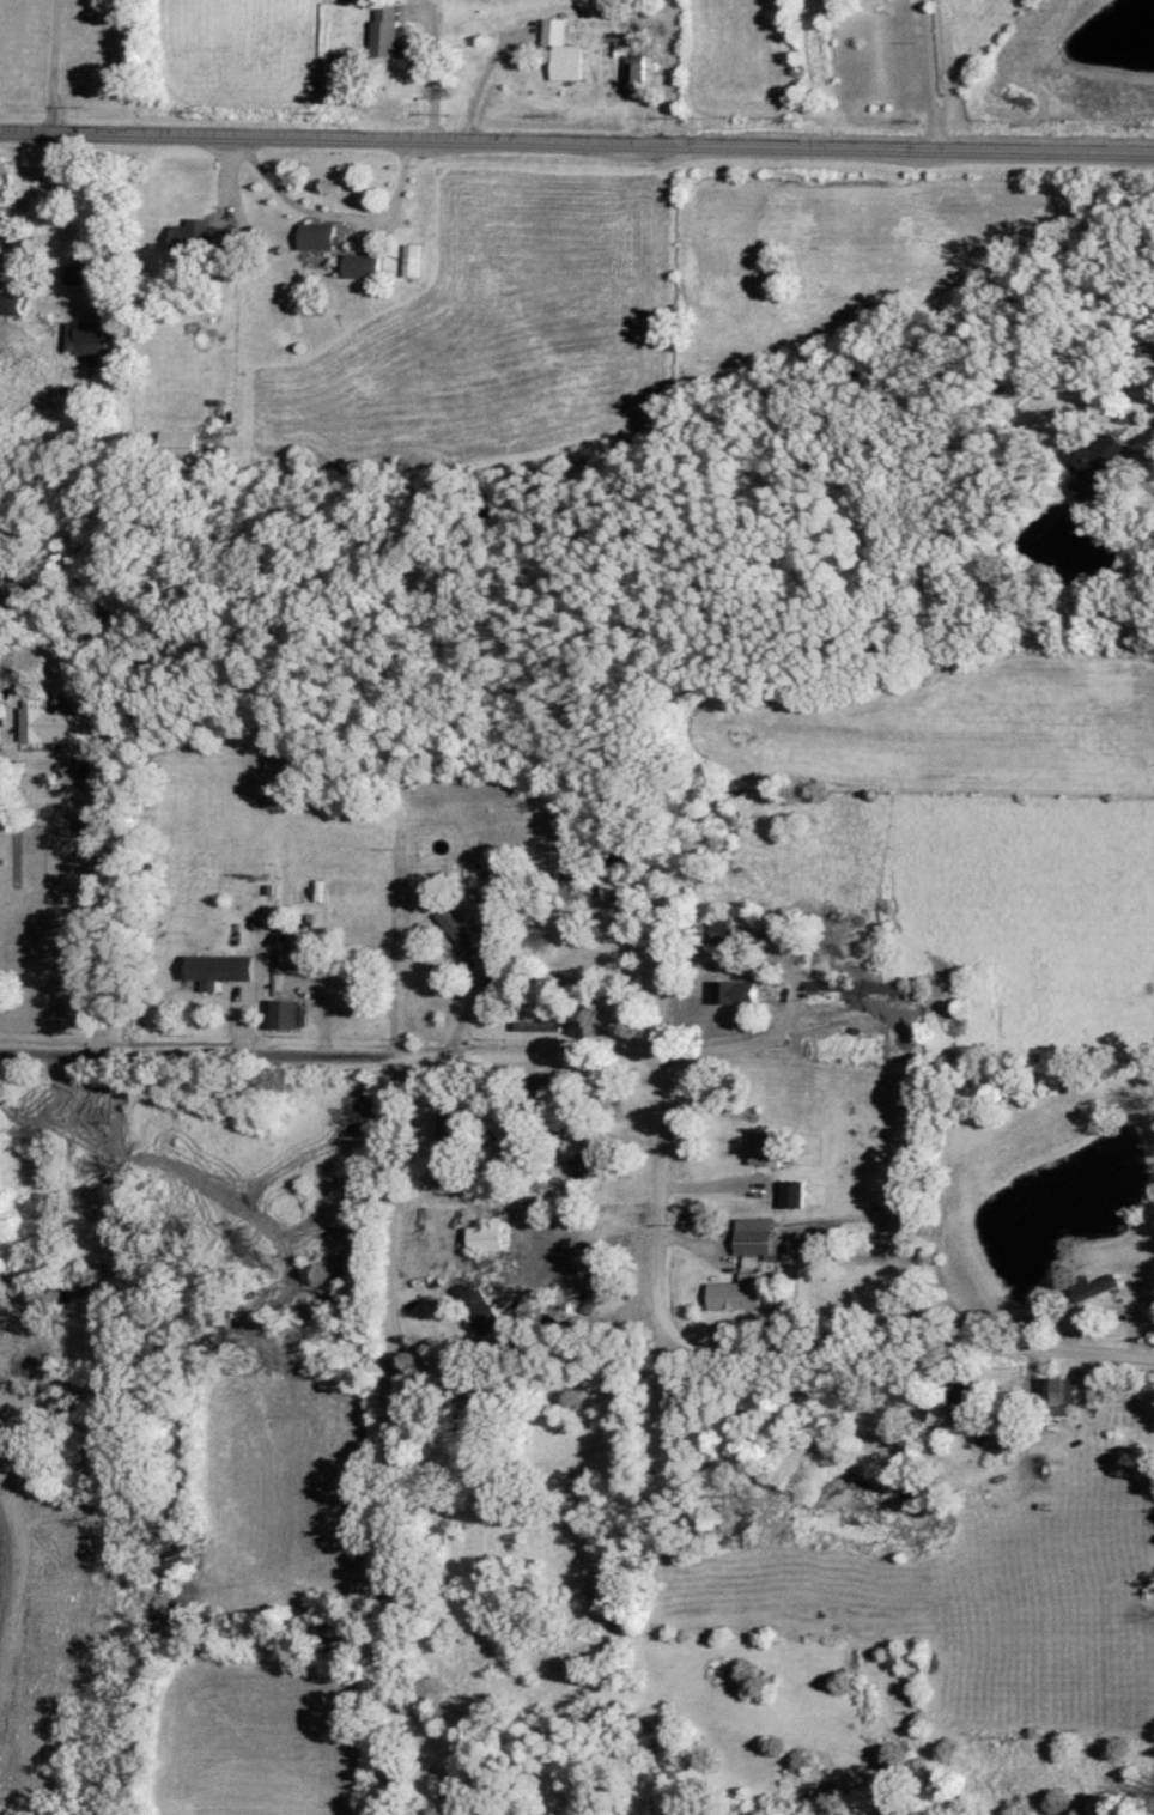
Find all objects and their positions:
building: (381, 29)
building: (558, 50)
road: (675, 73)
road: (576, 145)
building: (196, 236)
building: (324, 236)
building: (362, 265)
building: (408, 267)
building: (74, 275)
building: (13, 303)
building: (97, 338)
building: (1146, 350)
building: (181, 443)
building: (1091, 465)
building: (0, 661)
building: (54, 726)
building: (454, 931)
building: (204, 967)
building: (734, 993)
building: (280, 1014)
road: (314, 1043)
building: (532, 1092)
building: (500, 1125)
building: (758, 1148)
building: (789, 1194)
road: (657, 1197)
building: (752, 1236)
building: (482, 1238)
building: (1091, 1287)
building: (589, 1289)
building: (734, 1293)
road: (391, 1304)
building: (478, 1310)
road: (690, 1335)
road: (670, 1349)
building: (1047, 1391)

